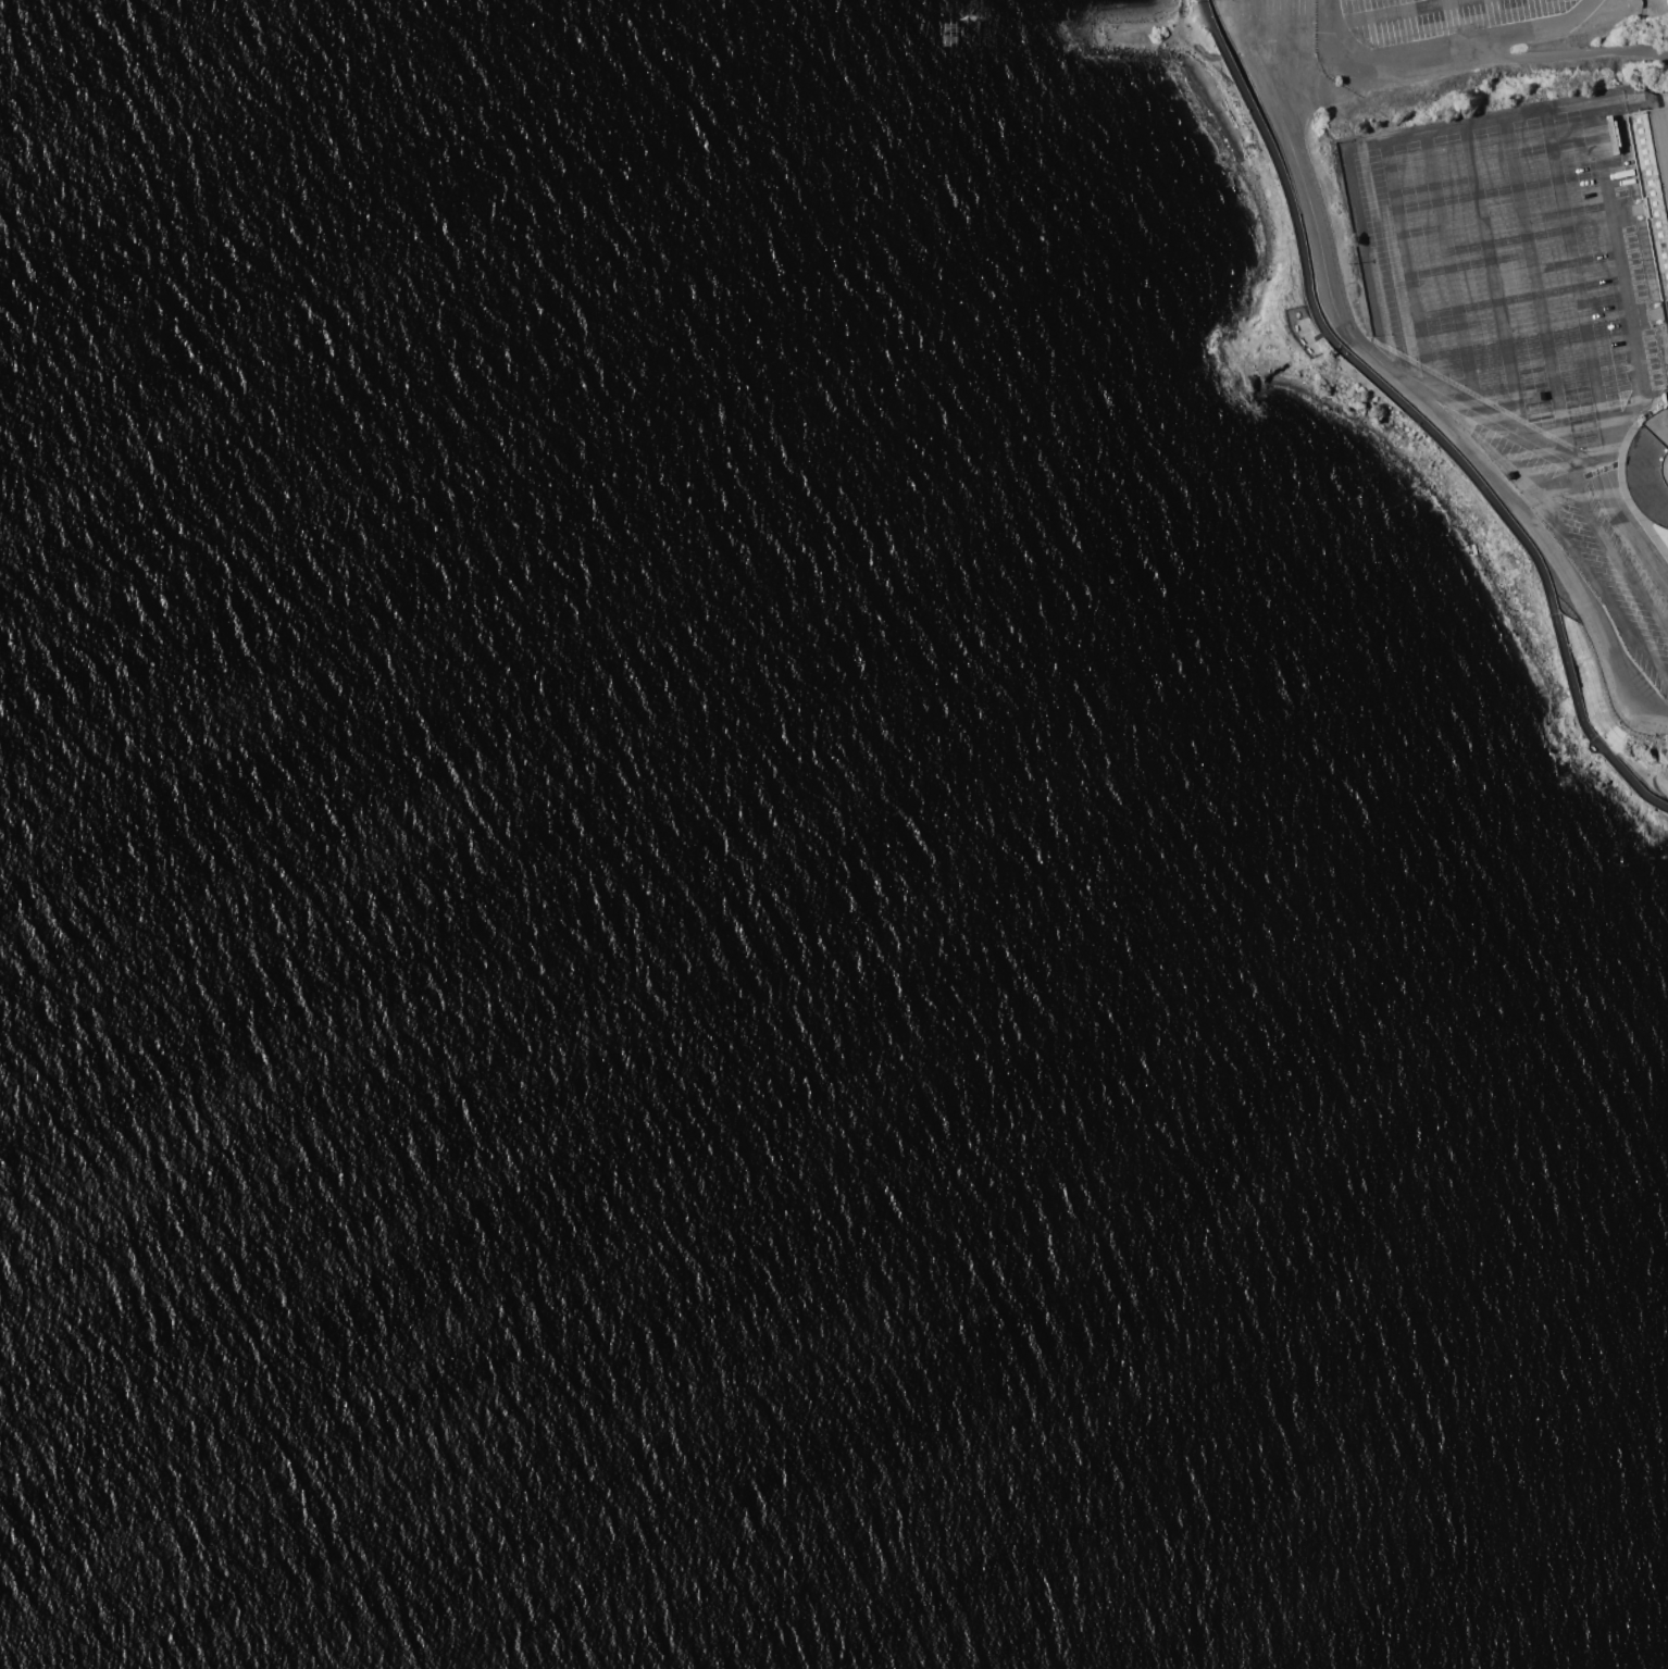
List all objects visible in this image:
road: (1390, 13)
parking lot: (1441, 18)
parking lot: (1269, 25)
road: (1308, 33)
road: (1328, 33)
road: (1243, 35)
road: (1440, 52)
road: (1543, 112)
building: (1654, 184)
road: (1312, 215)
road: (1405, 260)
road: (1449, 269)
road: (1491, 274)
road: (1576, 279)
road: (1535, 283)
road: (1328, 336)
parking lot: (1529, 341)
building: (1667, 395)
building: (1541, 396)
road: (1546, 440)
building: (1650, 469)
building: (1506, 470)
road: (1554, 479)
road: (1530, 528)
road: (1611, 556)
road: (1597, 587)
road: (1568, 677)
road: (1627, 775)
road: (1658, 787)

